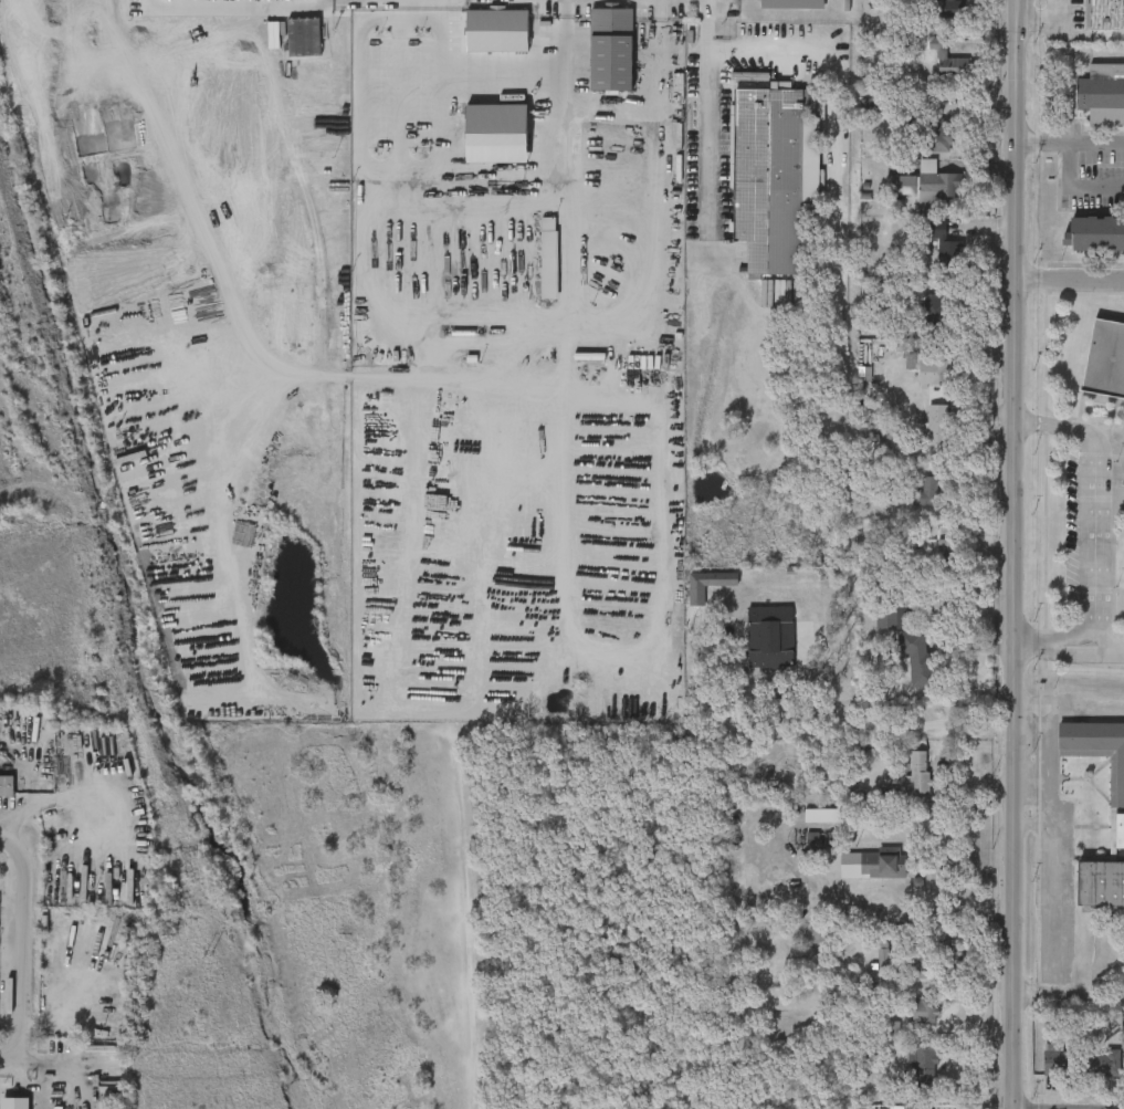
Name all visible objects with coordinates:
road: (324, 0)
road: (343, 0)
road: (379, 0)
building: (790, 3)
road: (233, 8)
building: (944, 8)
building: (1106, 15)
road: (710, 21)
road: (1044, 22)
building: (496, 30)
building: (304, 38)
road: (128, 40)
building: (609, 49)
building: (945, 61)
building: (1101, 88)
building: (948, 105)
building: (496, 134)
building: (937, 135)
road: (708, 140)
road: (1069, 146)
building: (766, 178)
building: (927, 187)
road: (1076, 187)
road: (480, 191)
building: (938, 232)
building: (1096, 234)
building: (548, 258)
road: (572, 258)
road: (1070, 279)
building: (936, 315)
road: (601, 334)
building: (1104, 364)
building: (935, 370)
road: (850, 416)
building: (937, 426)
building: (875, 447)
building: (927, 491)
road: (1100, 514)
building: (945, 545)
road: (1013, 554)
building: (707, 585)
building: (893, 617)
building: (769, 637)
road: (1030, 641)
road: (617, 653)
road: (1083, 653)
building: (916, 657)
building: (918, 772)
building: (6, 786)
building: (1116, 803)
building: (821, 816)
road: (1052, 819)
road: (1032, 824)
building: (832, 839)
building: (813, 841)
building: (881, 865)
road: (945, 913)
building: (953, 934)
road: (21, 948)
building: (949, 950)
building: (883, 954)
building: (918, 965)
road: (952, 994)
building: (924, 1012)
building: (893, 1028)
building: (1123, 1060)
building: (1059, 1061)
building: (1103, 1063)
building: (925, 1067)
road: (44, 1068)
road: (27, 1080)
building: (15, 1103)

